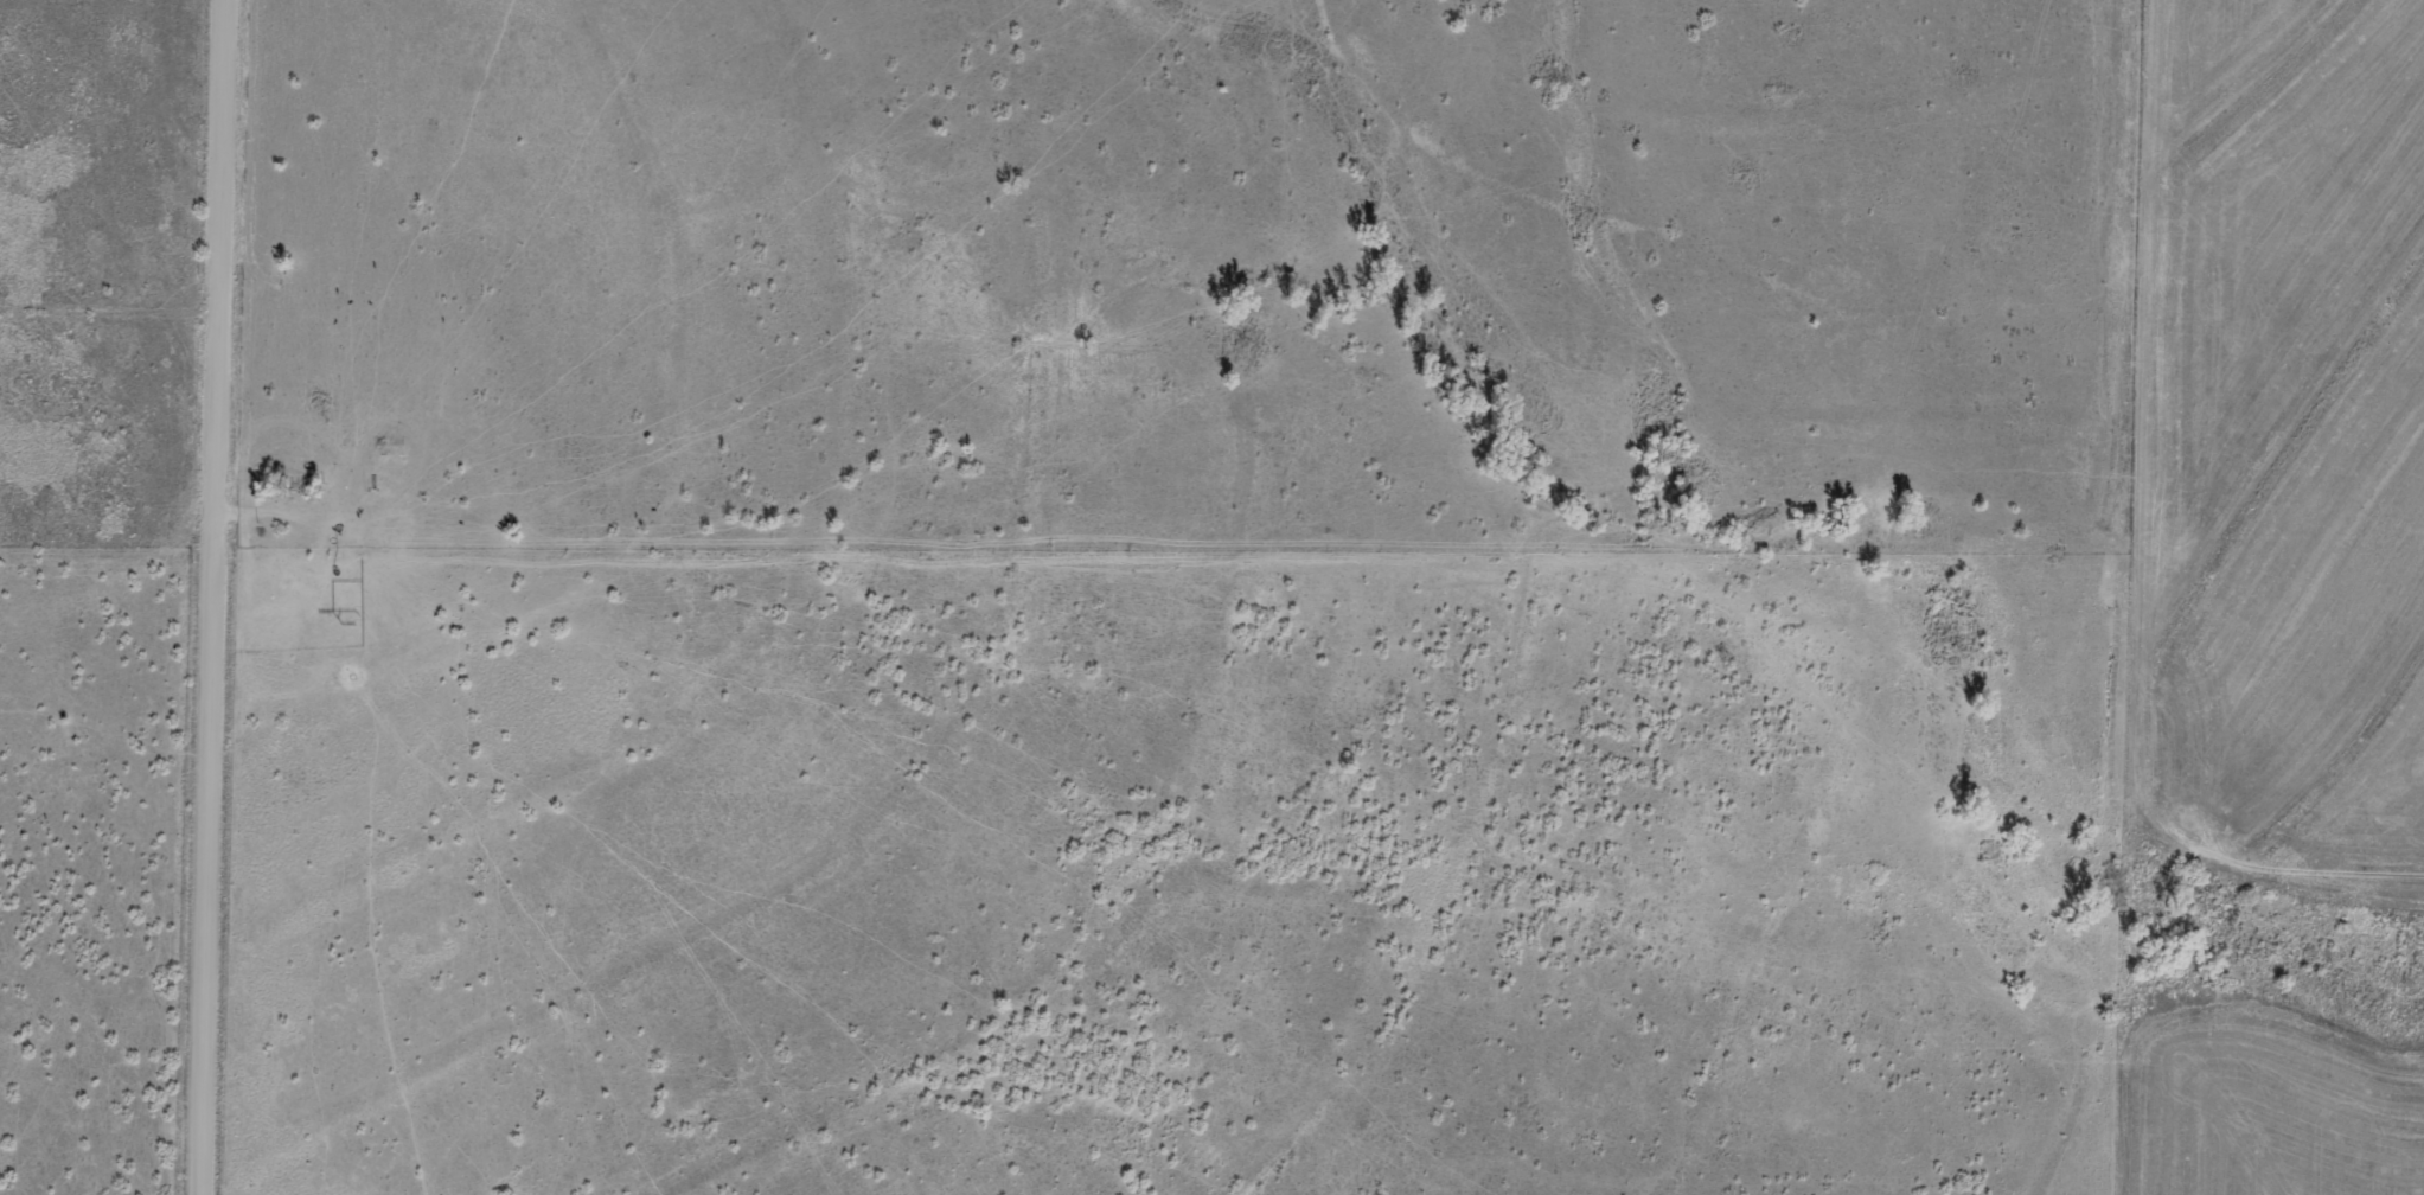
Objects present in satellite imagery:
road: (218, 597)

